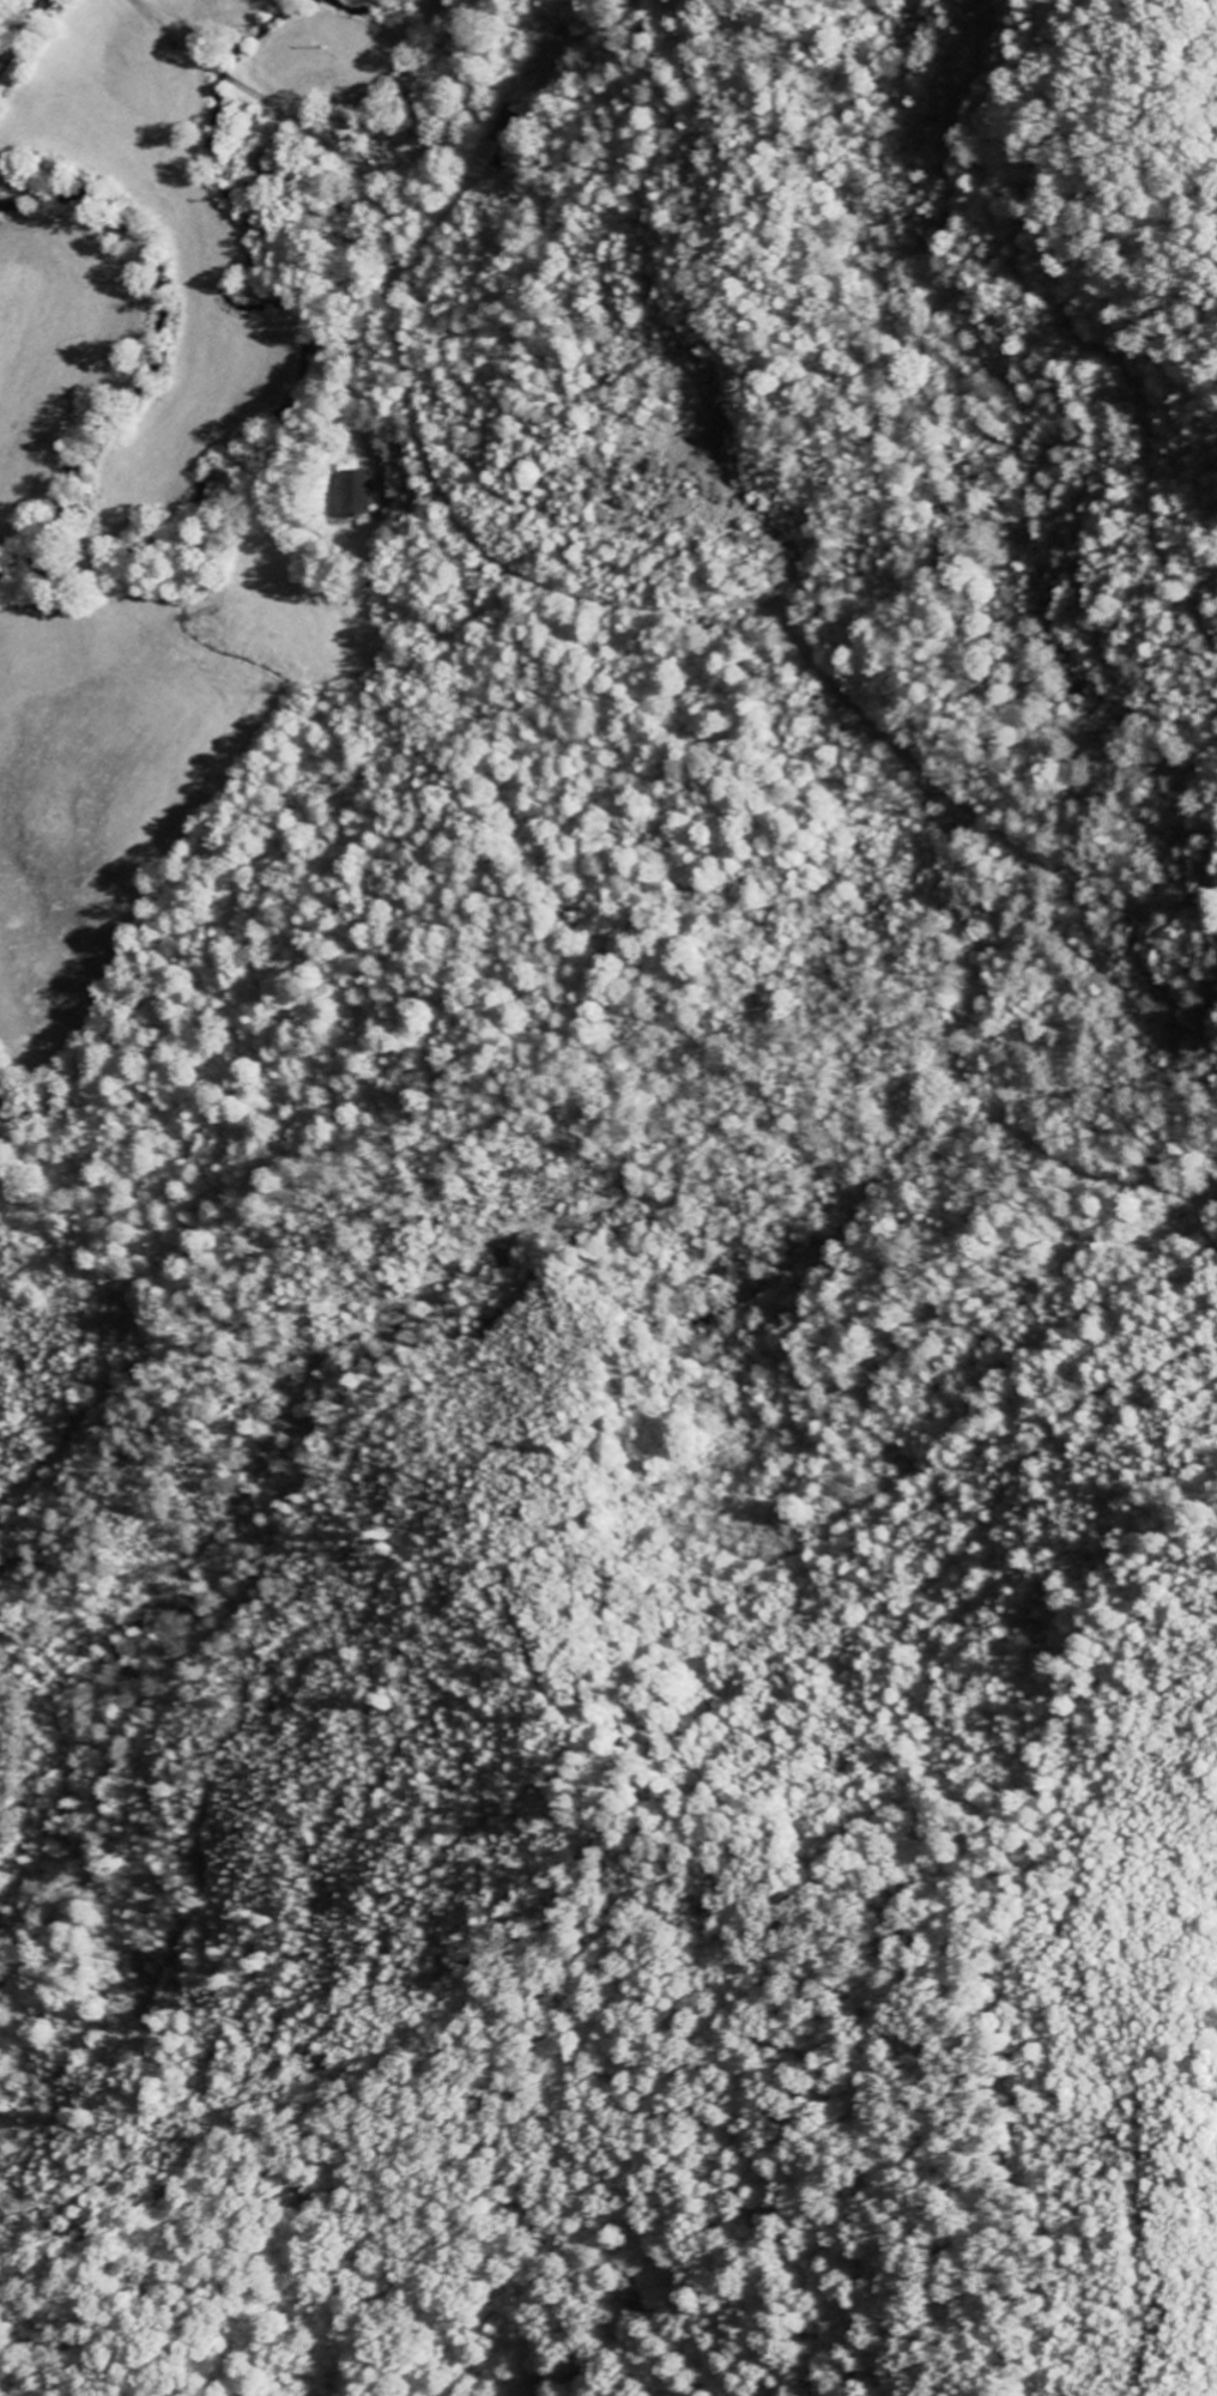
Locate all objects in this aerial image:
road: (23, 34)
building: (359, 494)

